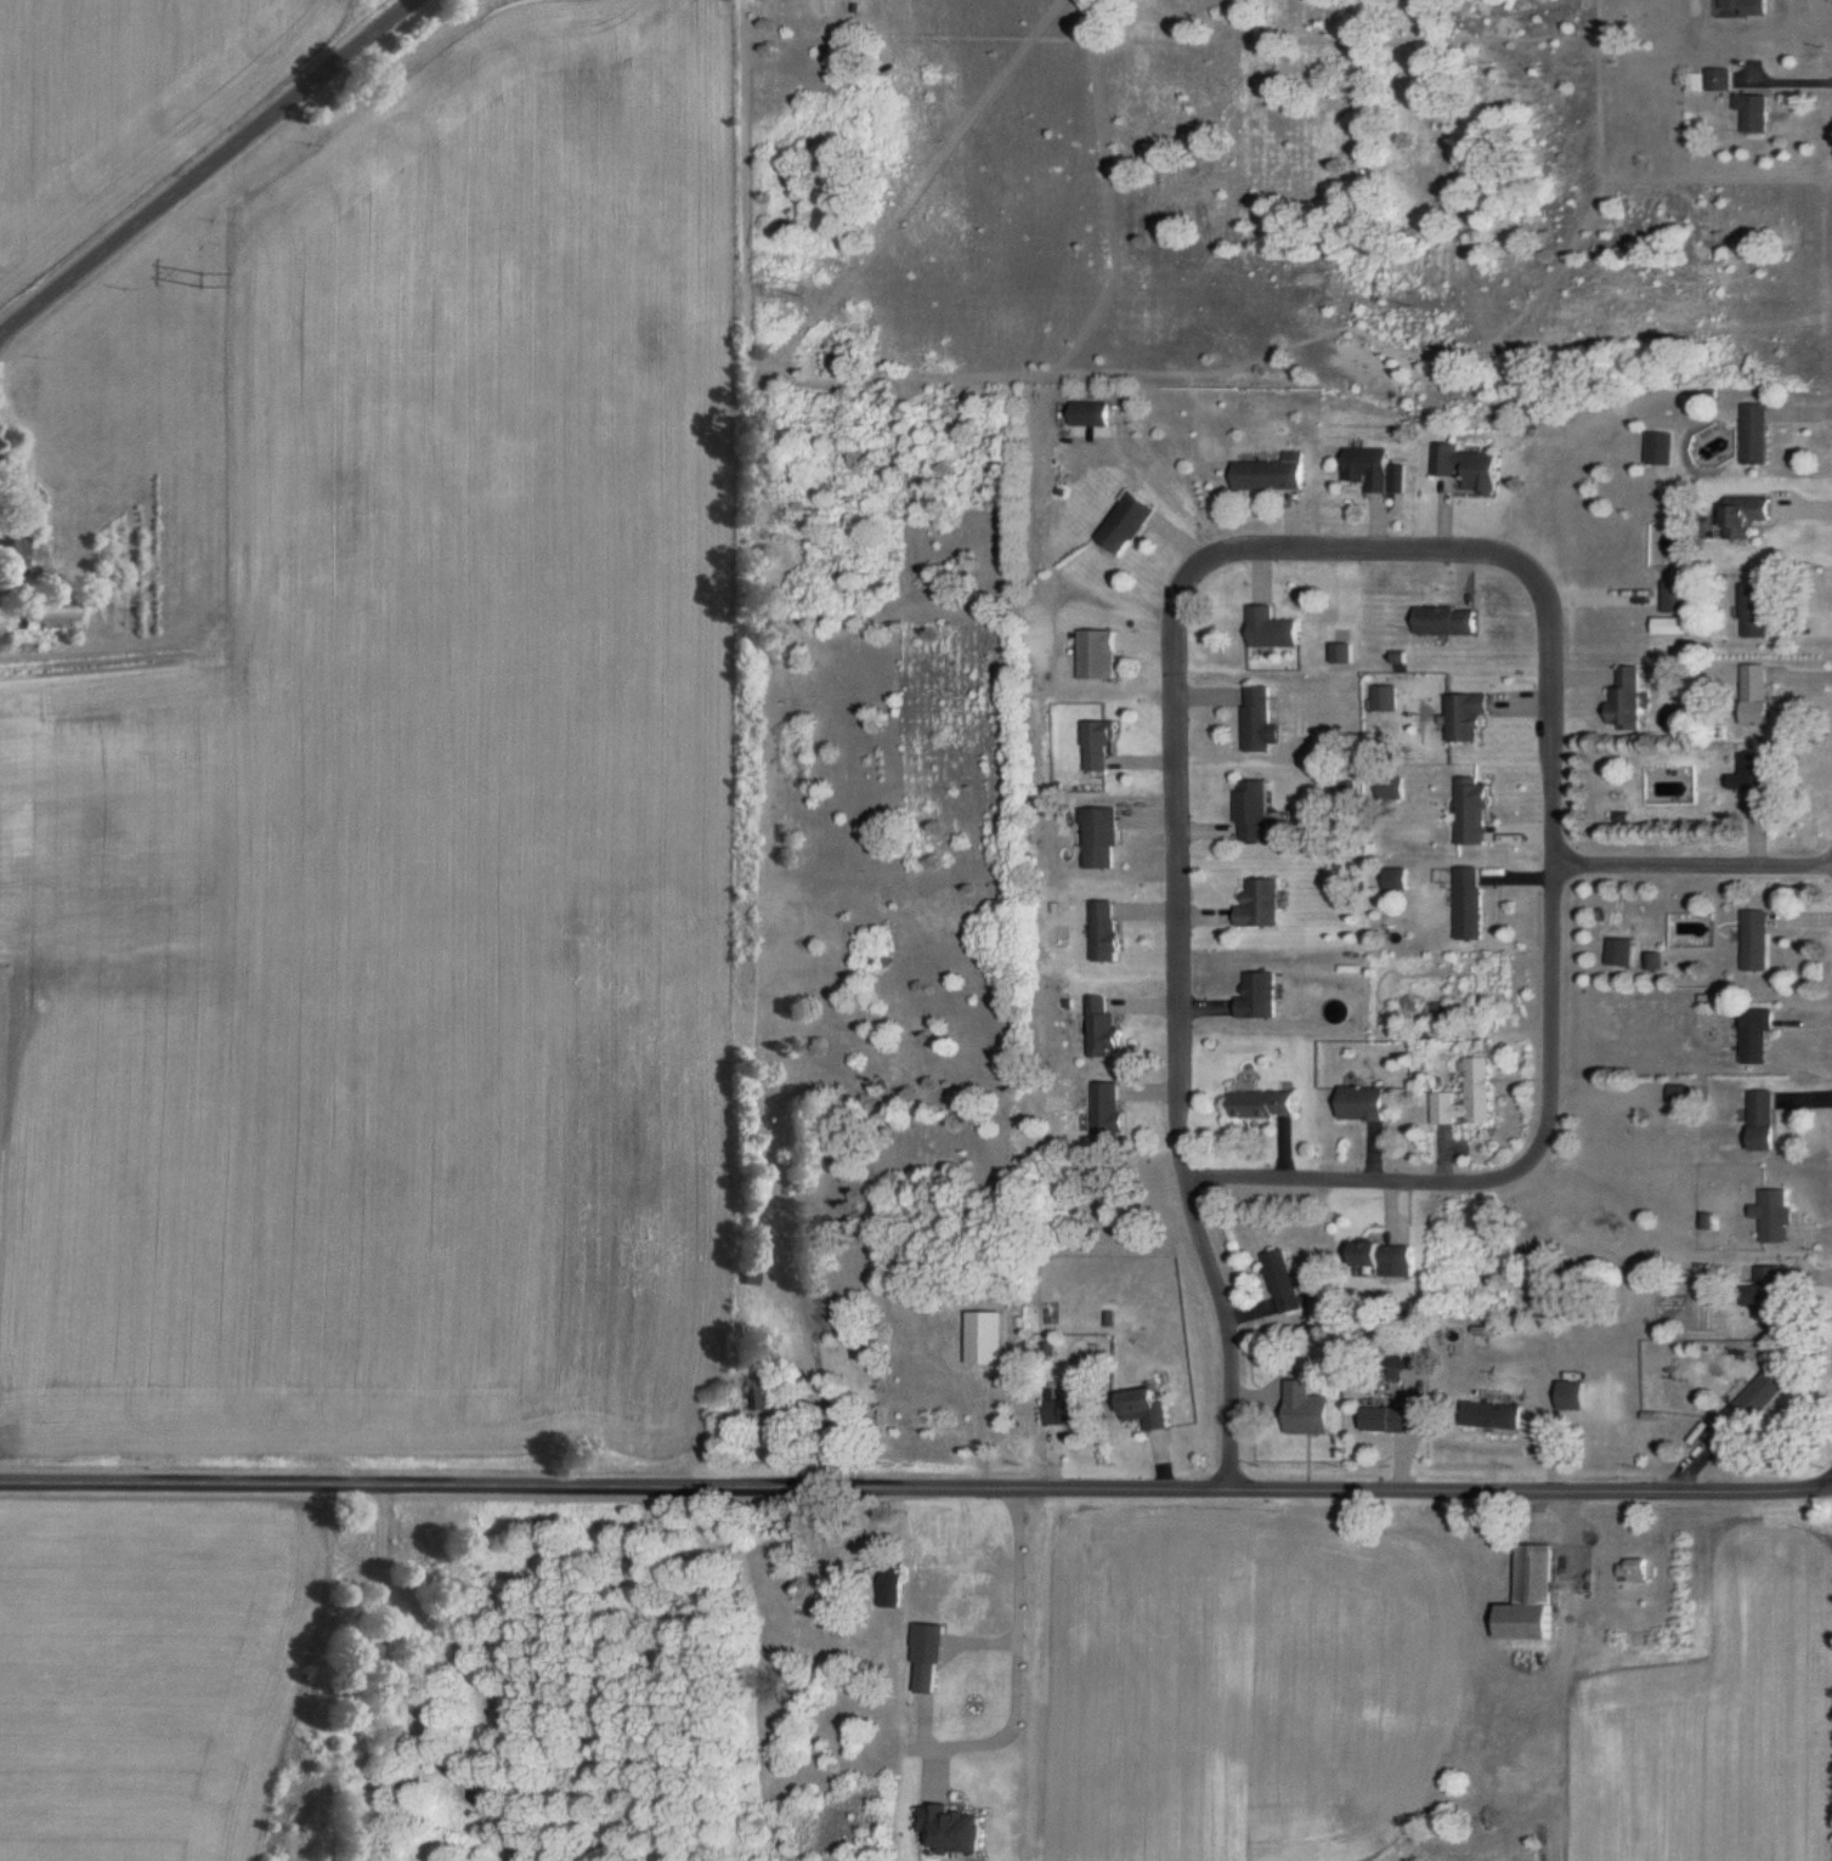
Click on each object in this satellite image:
building: (1738, 6)
building: (1711, 79)
building: (1745, 112)
road: (209, 170)
power tower: (205, 290)
power tower: (809, 292)
power tower: (1417, 301)
road: (2, 343)
building: (1090, 413)
building: (1749, 434)
building: (1655, 448)
building: (1464, 468)
building: (1374, 470)
building: (1271, 474)
building: (1741, 516)
building: (1127, 524)
building: (13, 547)
building: (1672, 595)
building: (1751, 611)
building: (45, 613)
building: (1443, 621)
building: (1667, 626)
building: (1271, 628)
building: (1098, 654)
building: (1341, 654)
building: (1752, 694)
building: (1383, 698)
building: (1623, 700)
building: (1463, 717)
building: (1259, 720)
building: (1098, 743)
building: (1747, 782)
building: (1389, 788)
building: (1250, 810)
building: (1468, 810)
building: (1097, 837)
road: (1553, 867)
road: (1692, 869)
building: (1392, 878)
building: (1464, 903)
building: (1257, 904)
building: (1101, 931)
building: (1752, 940)
building: (1616, 952)
building: (1256, 996)
building: (1097, 1028)
road: (1177, 1035)
building: (1753, 1035)
building: (1464, 1096)
building: (1262, 1104)
building: (1362, 1104)
building: (1102, 1114)
building: (1762, 1121)
building: (1771, 1215)
building: (1385, 1258)
building: (1280, 1282)
building: (1762, 1289)
building: (978, 1339)
building: (769, 1393)
building: (1570, 1396)
building: (1753, 1402)
road: (825, 1403)
building: (1142, 1409)
building: (1304, 1410)
building: (1058, 1413)
building: (1489, 1415)
building: (1383, 1419)
road: (915, 1491)
building: (1632, 1571)
building: (886, 1590)
building: (1530, 1596)
road: (1013, 1646)
building: (923, 1654)
building: (951, 1831)

